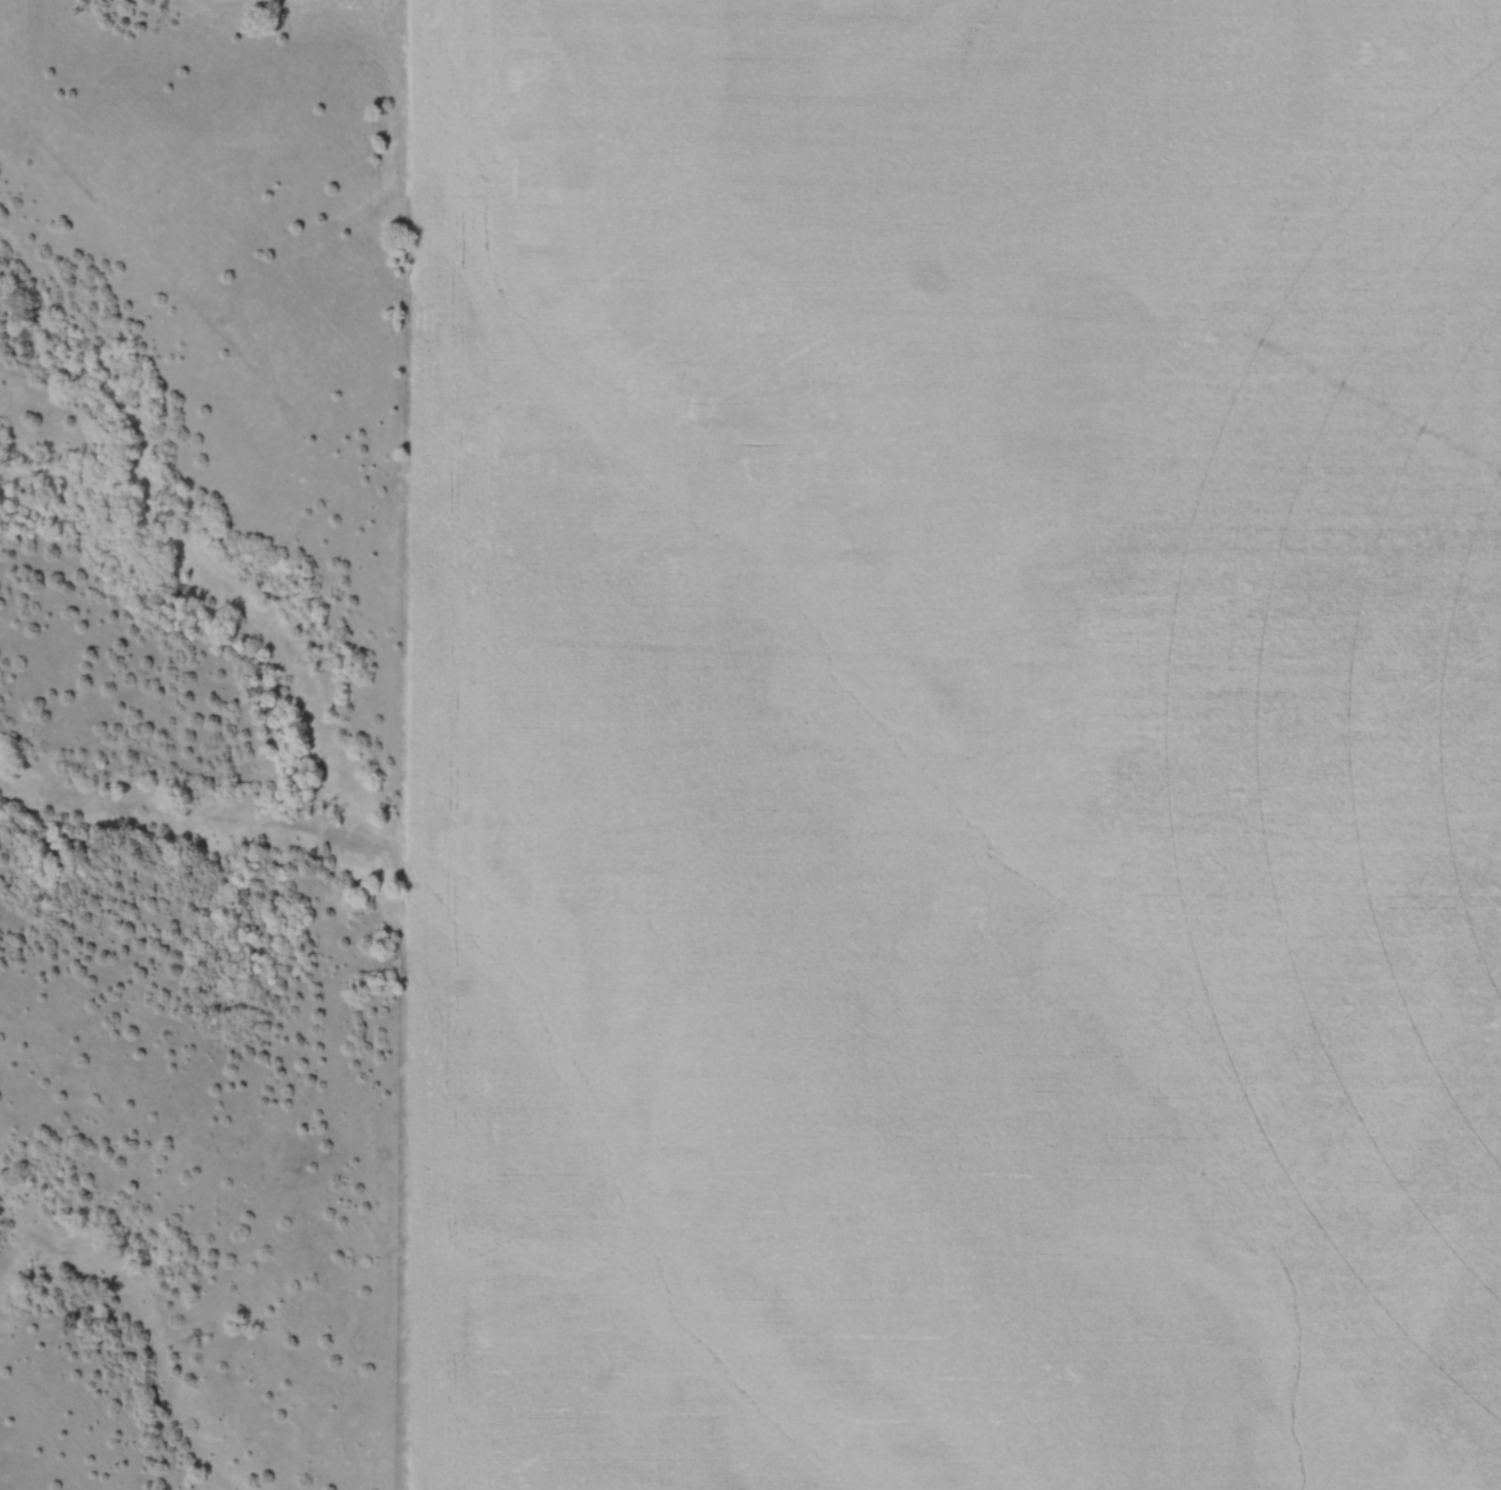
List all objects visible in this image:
road: (1493, 18)

